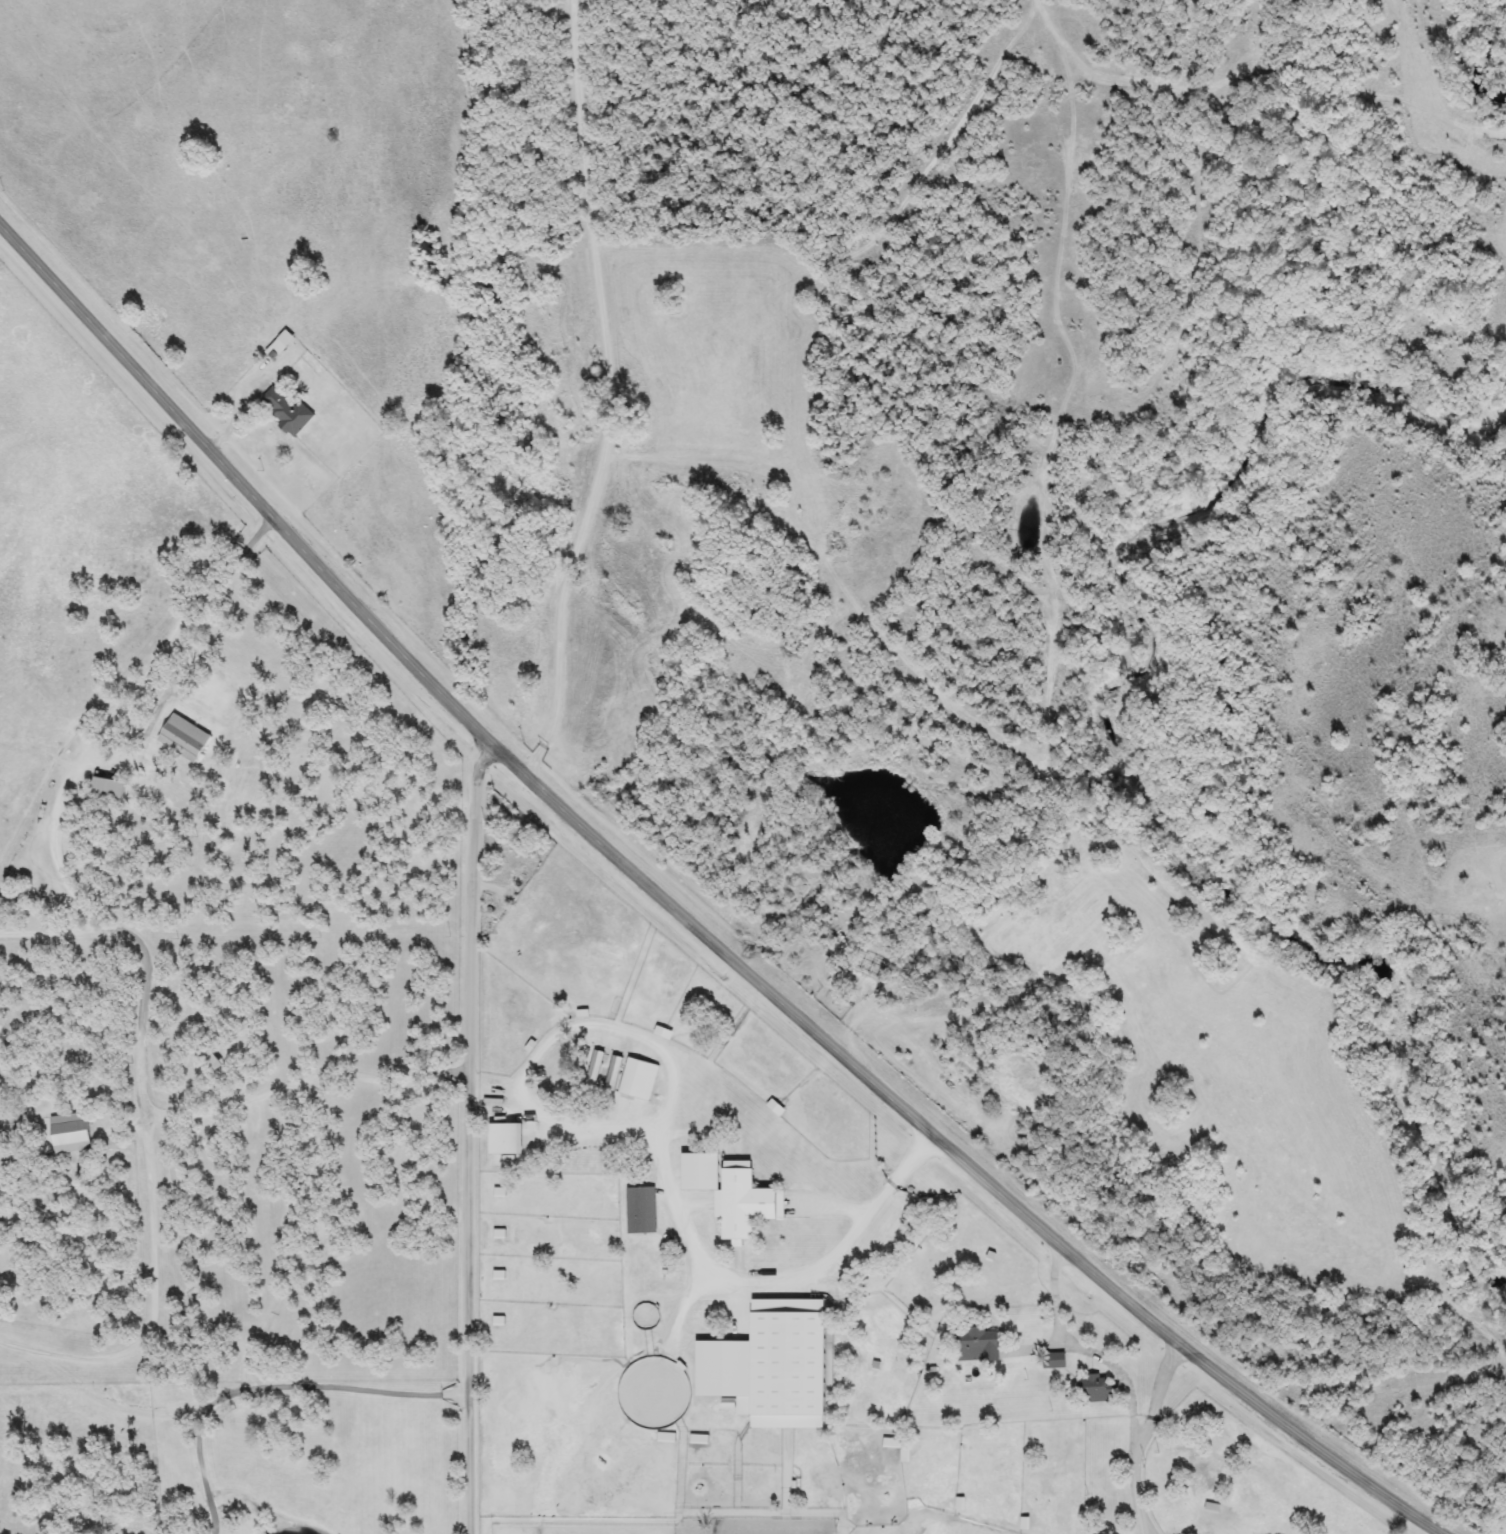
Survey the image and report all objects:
road: (612, 396)
building: (286, 411)
road: (239, 553)
building: (183, 738)
building: (107, 789)
road: (684, 922)
building: (868, 967)
road: (147, 977)
road: (593, 1034)
building: (634, 1078)
building: (69, 1133)
road: (575, 1134)
road: (472, 1138)
building: (505, 1139)
building: (731, 1193)
building: (640, 1210)
road: (771, 1290)
building: (977, 1344)
building: (770, 1365)
road: (1124, 1374)
building: (1096, 1389)
road: (277, 1395)
road: (1160, 1395)
road: (204, 1473)

